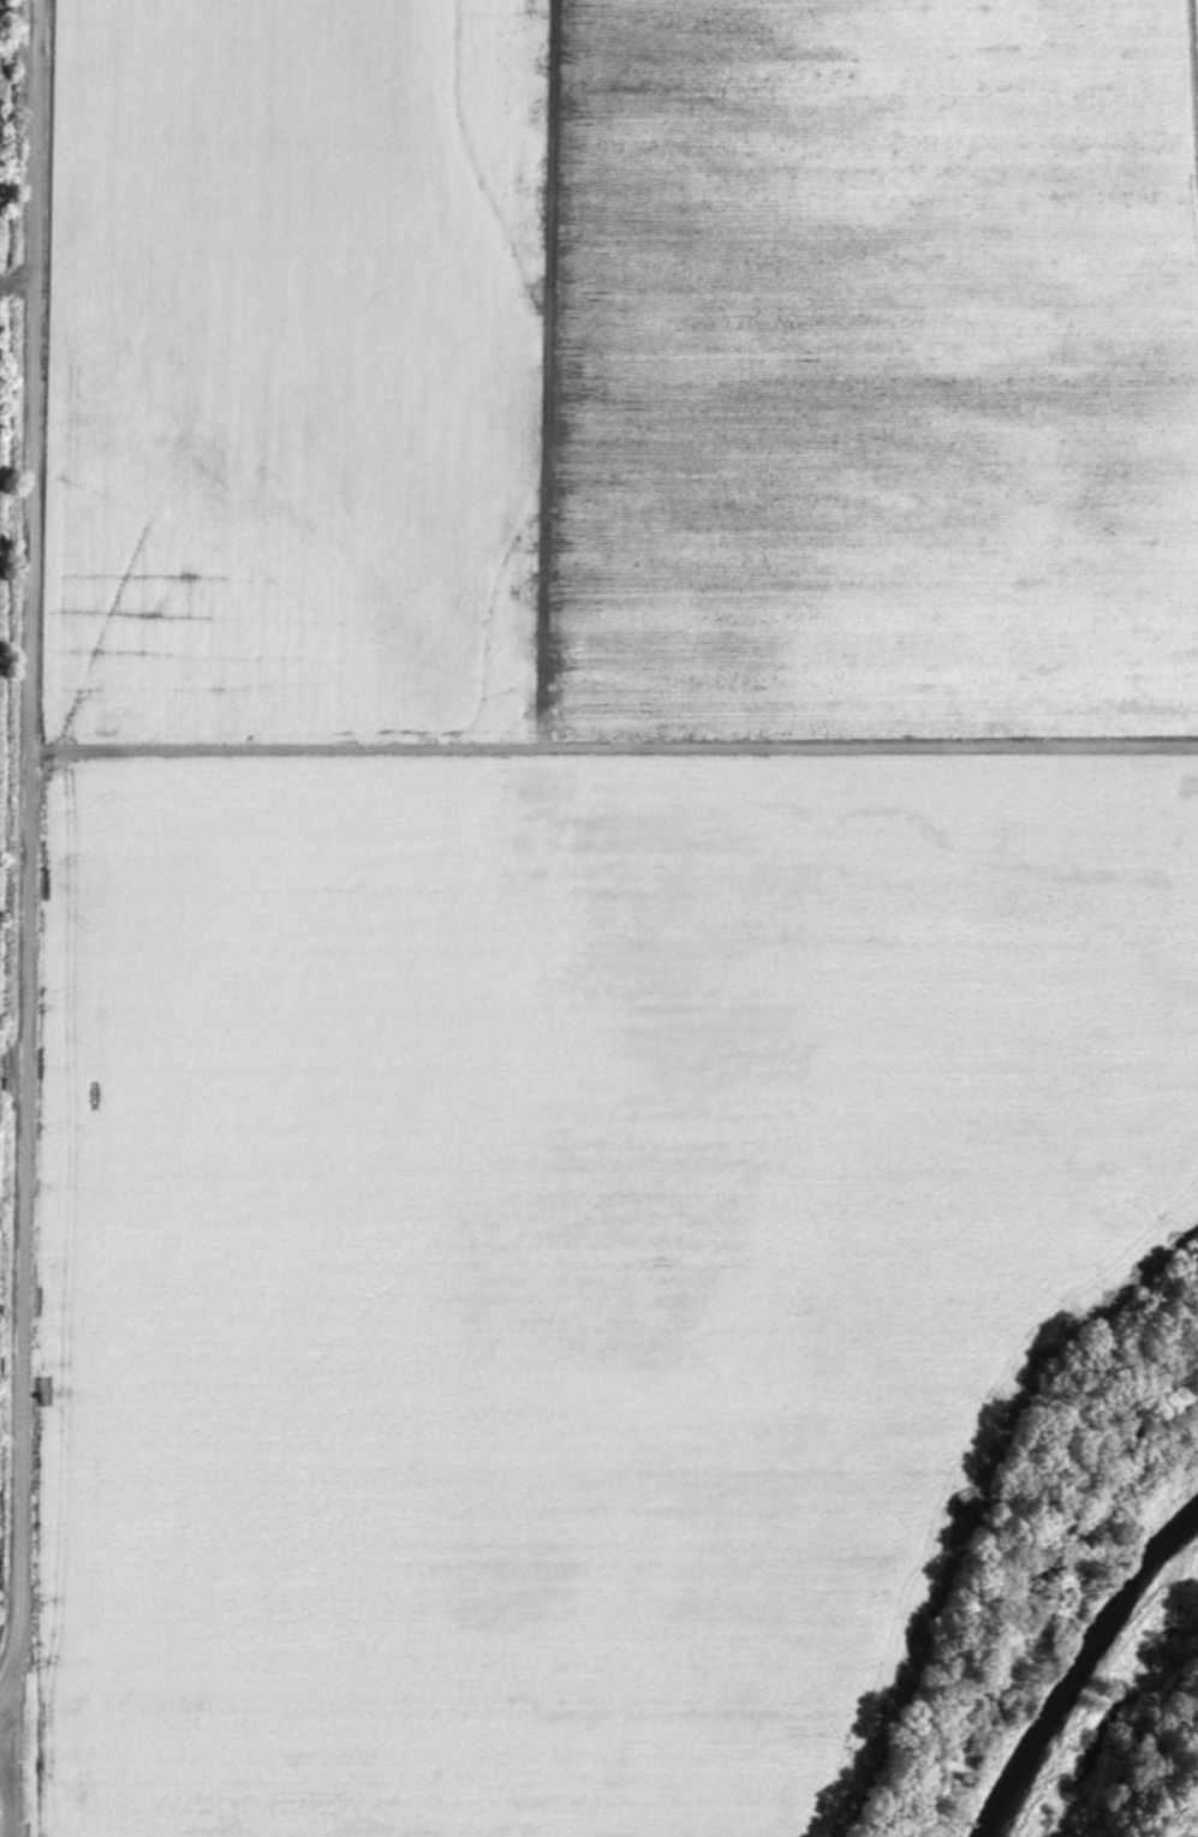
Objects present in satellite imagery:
road: (12, 284)
road: (600, 747)
road: (18, 833)
river: (1066, 1664)
road: (5, 1776)

